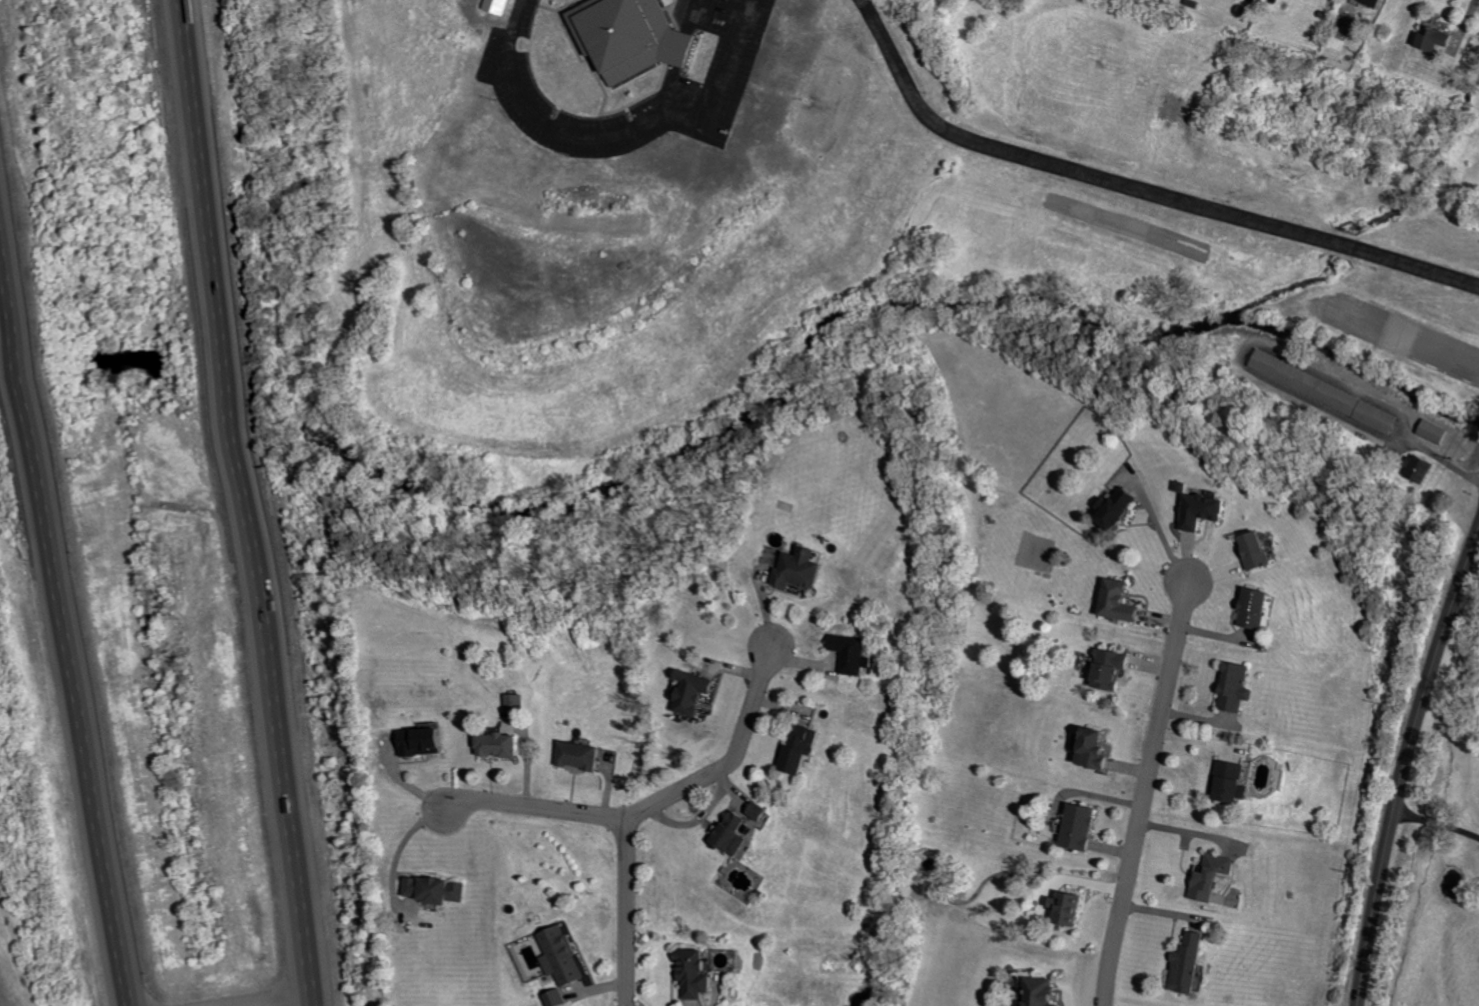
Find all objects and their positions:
building: (1380, 2)
building: (498, 6)
building: (633, 37)
building: (1441, 38)
road: (621, 131)
road: (1136, 186)
building: (1328, 391)
building: (1437, 431)
road: (1440, 457)
road: (247, 503)
building: (1122, 507)
building: (1207, 509)
road: (1163, 531)
building: (1260, 550)
building: (803, 568)
building: (1123, 601)
building: (1260, 607)
road: (62, 618)
building: (856, 653)
building: (1114, 667)
building: (1240, 686)
building: (696, 691)
building: (519, 701)
building: (426, 741)
building: (502, 744)
building: (1099, 747)
building: (807, 749)
building: (585, 754)
road: (1406, 769)
building: (1235, 780)
road: (1143, 792)
road: (651, 800)
building: (763, 811)
building: (1083, 826)
building: (736, 832)
building: (1214, 877)
building: (437, 889)
building: (1071, 907)
road: (627, 910)
building: (564, 956)
building: (1192, 963)
building: (698, 973)
building: (1045, 992)
road: (271, 997)
building: (559, 998)

